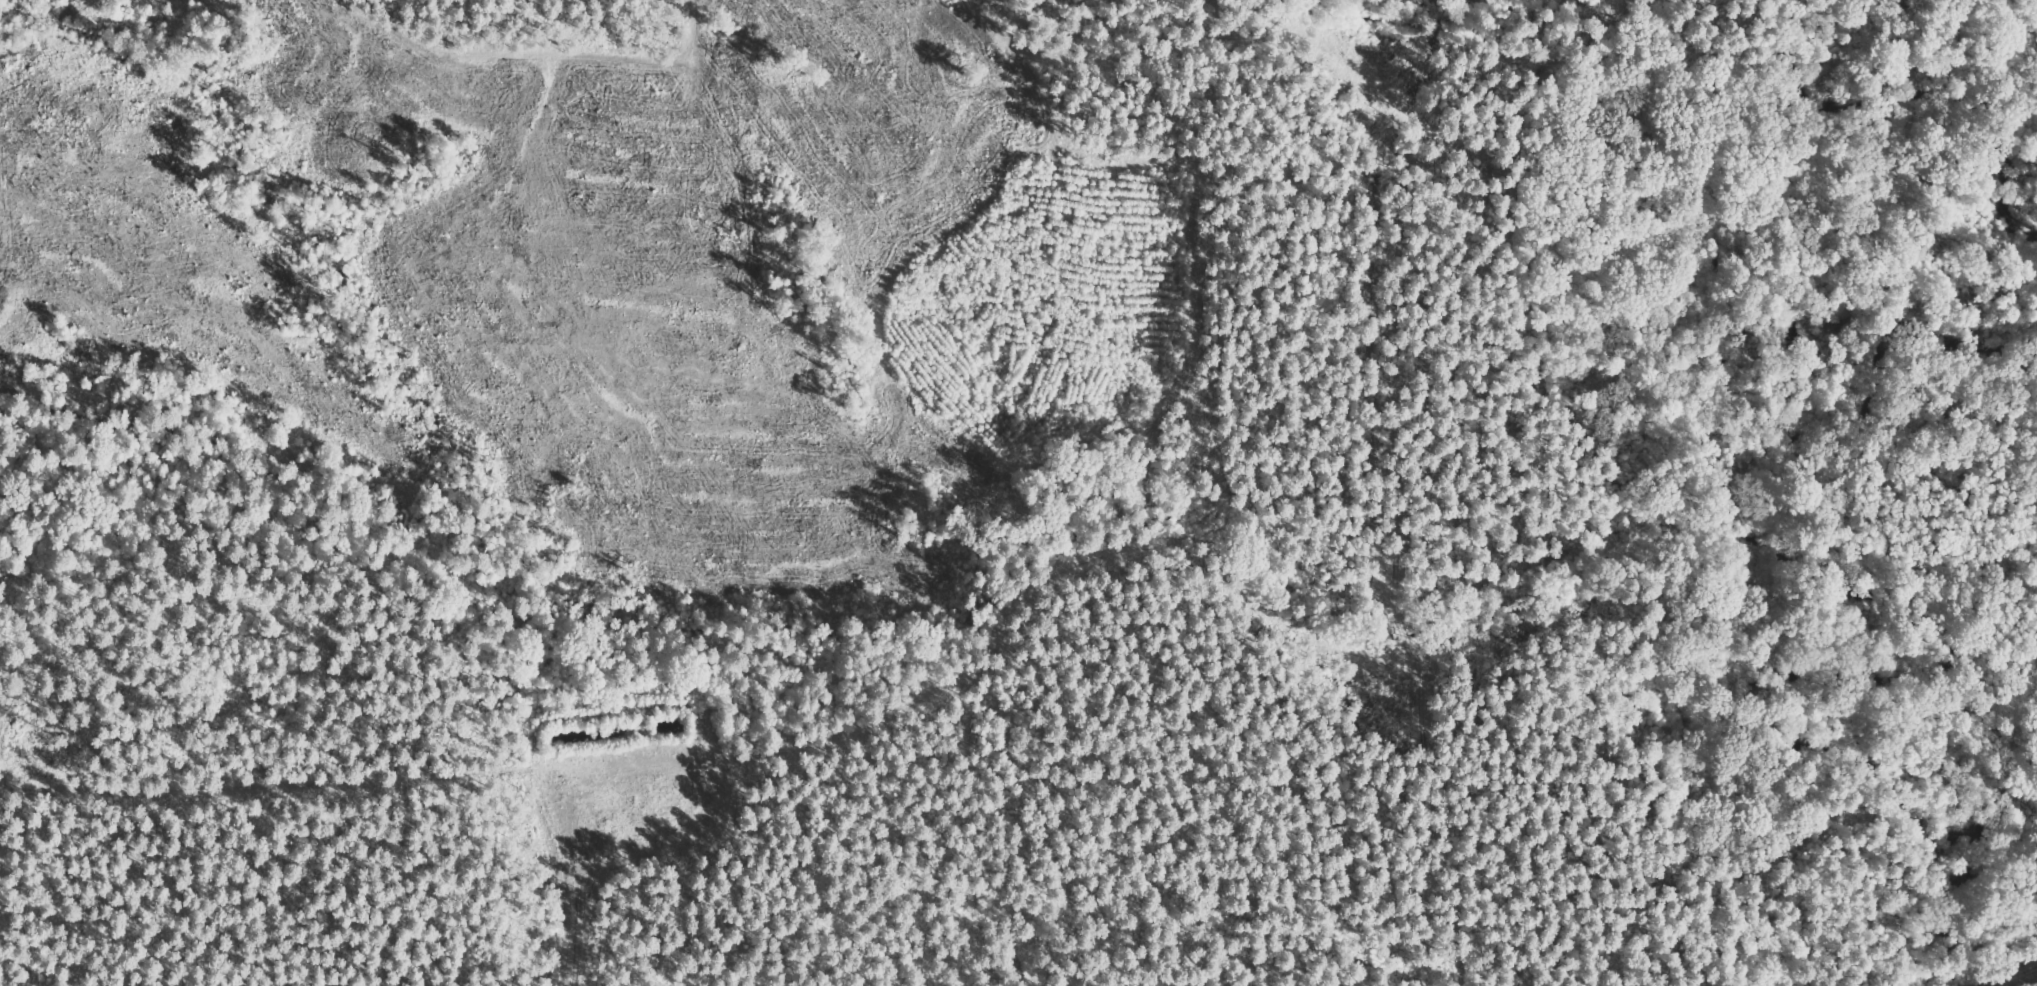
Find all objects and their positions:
road: (2029, 982)

